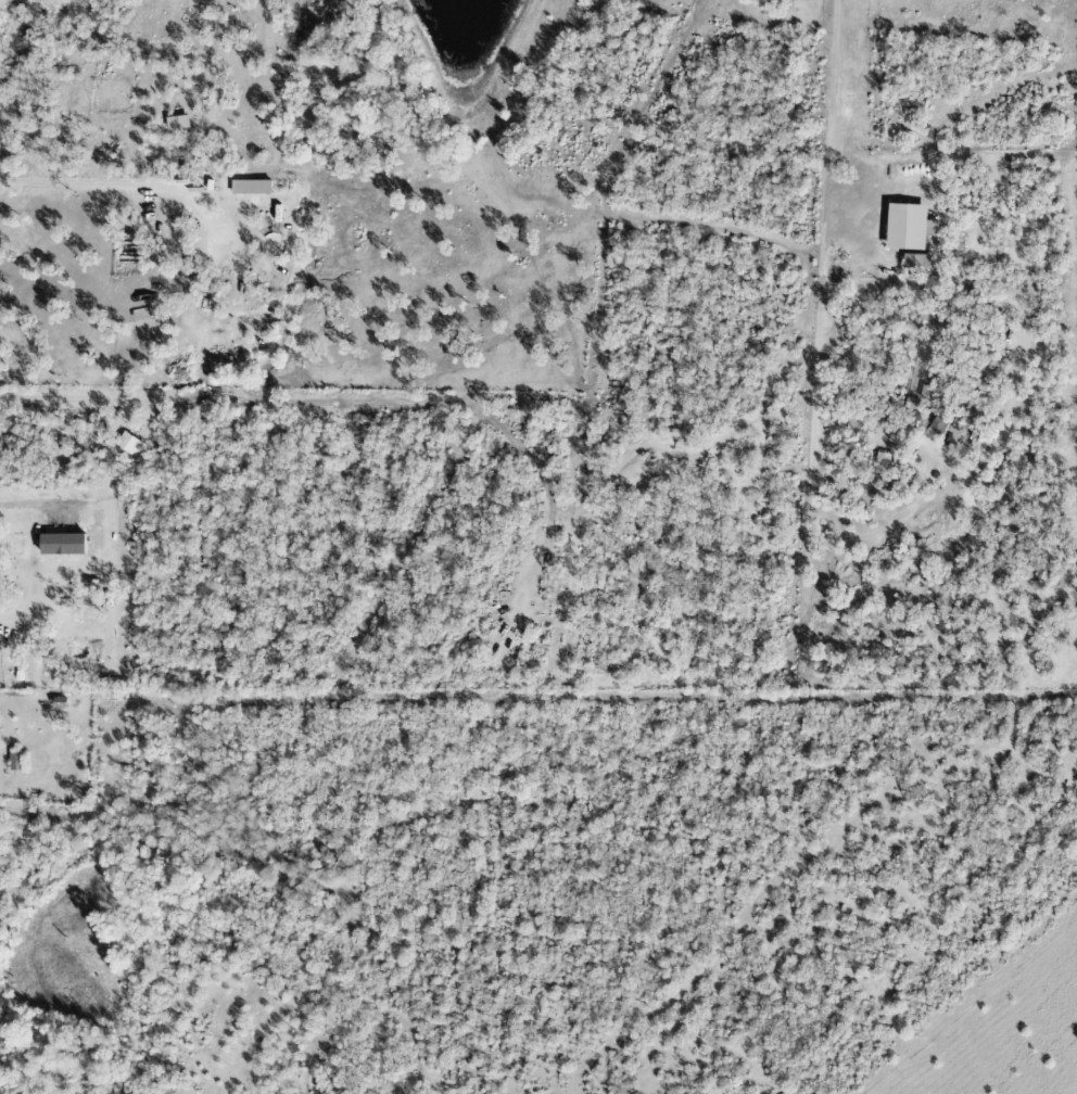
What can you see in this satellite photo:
road: (838, 73)
road: (101, 187)
building: (251, 188)
building: (908, 227)
building: (913, 262)
building: (129, 445)
road: (13, 504)

